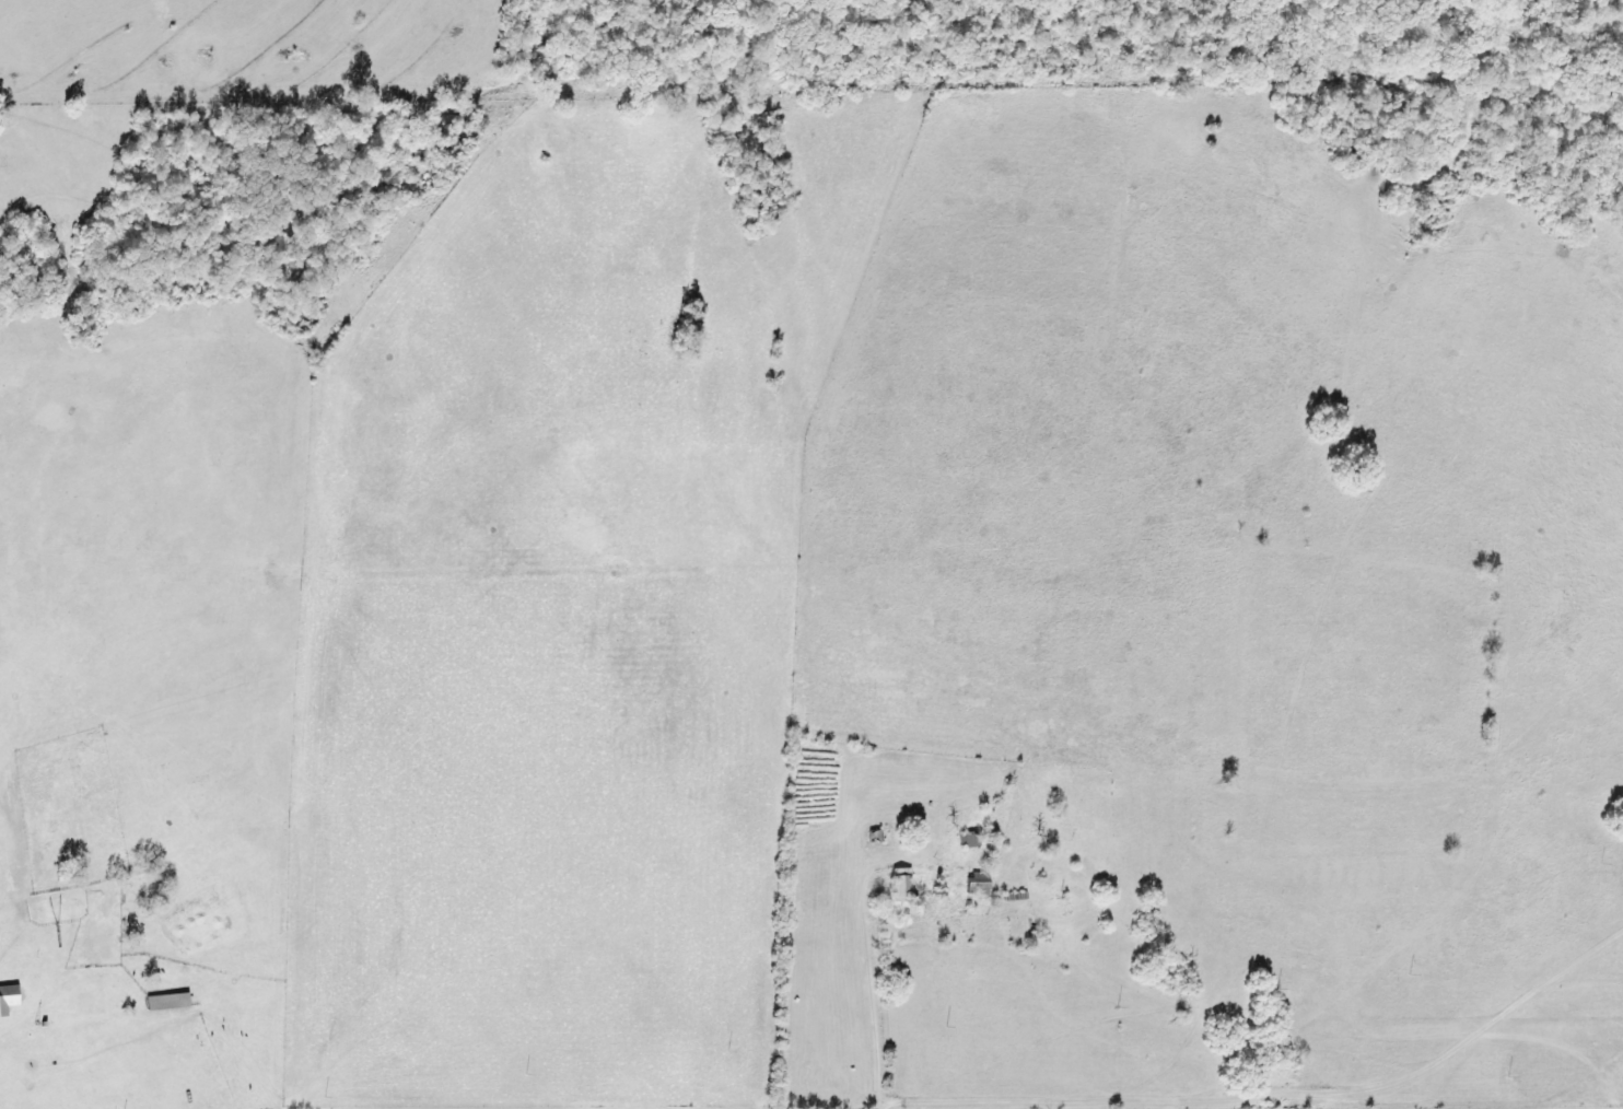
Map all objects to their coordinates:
road: (1135, 815)
building: (965, 840)
building: (972, 883)
building: (895, 884)
building: (5, 997)
building: (162, 1001)

